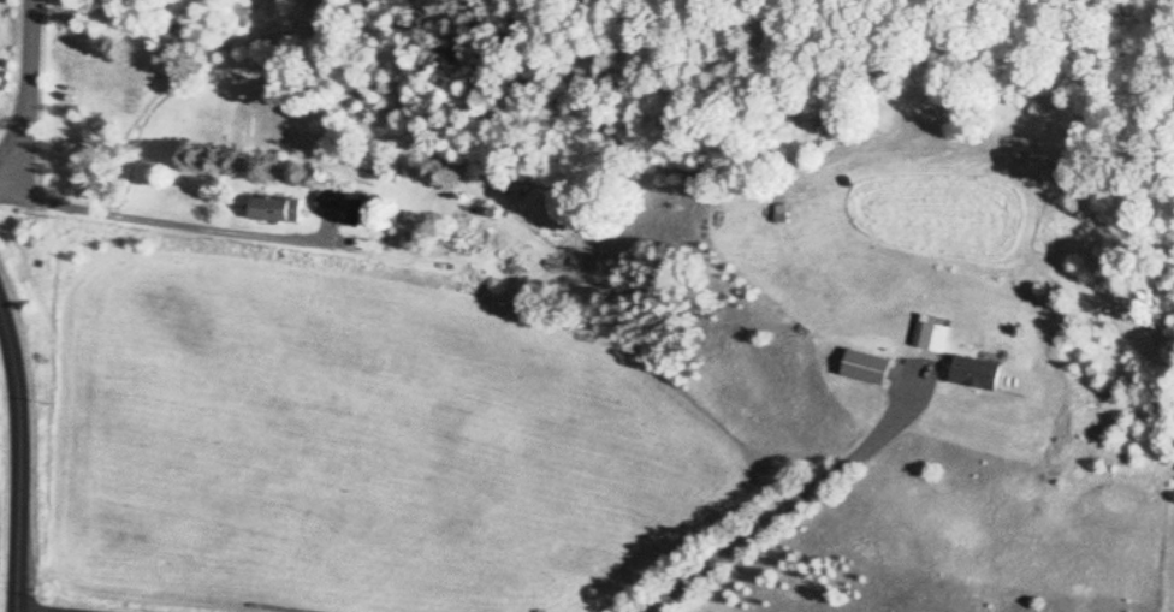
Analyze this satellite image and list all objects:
road: (24, 89)
road: (160, 225)
road: (17, 469)
road: (783, 513)

